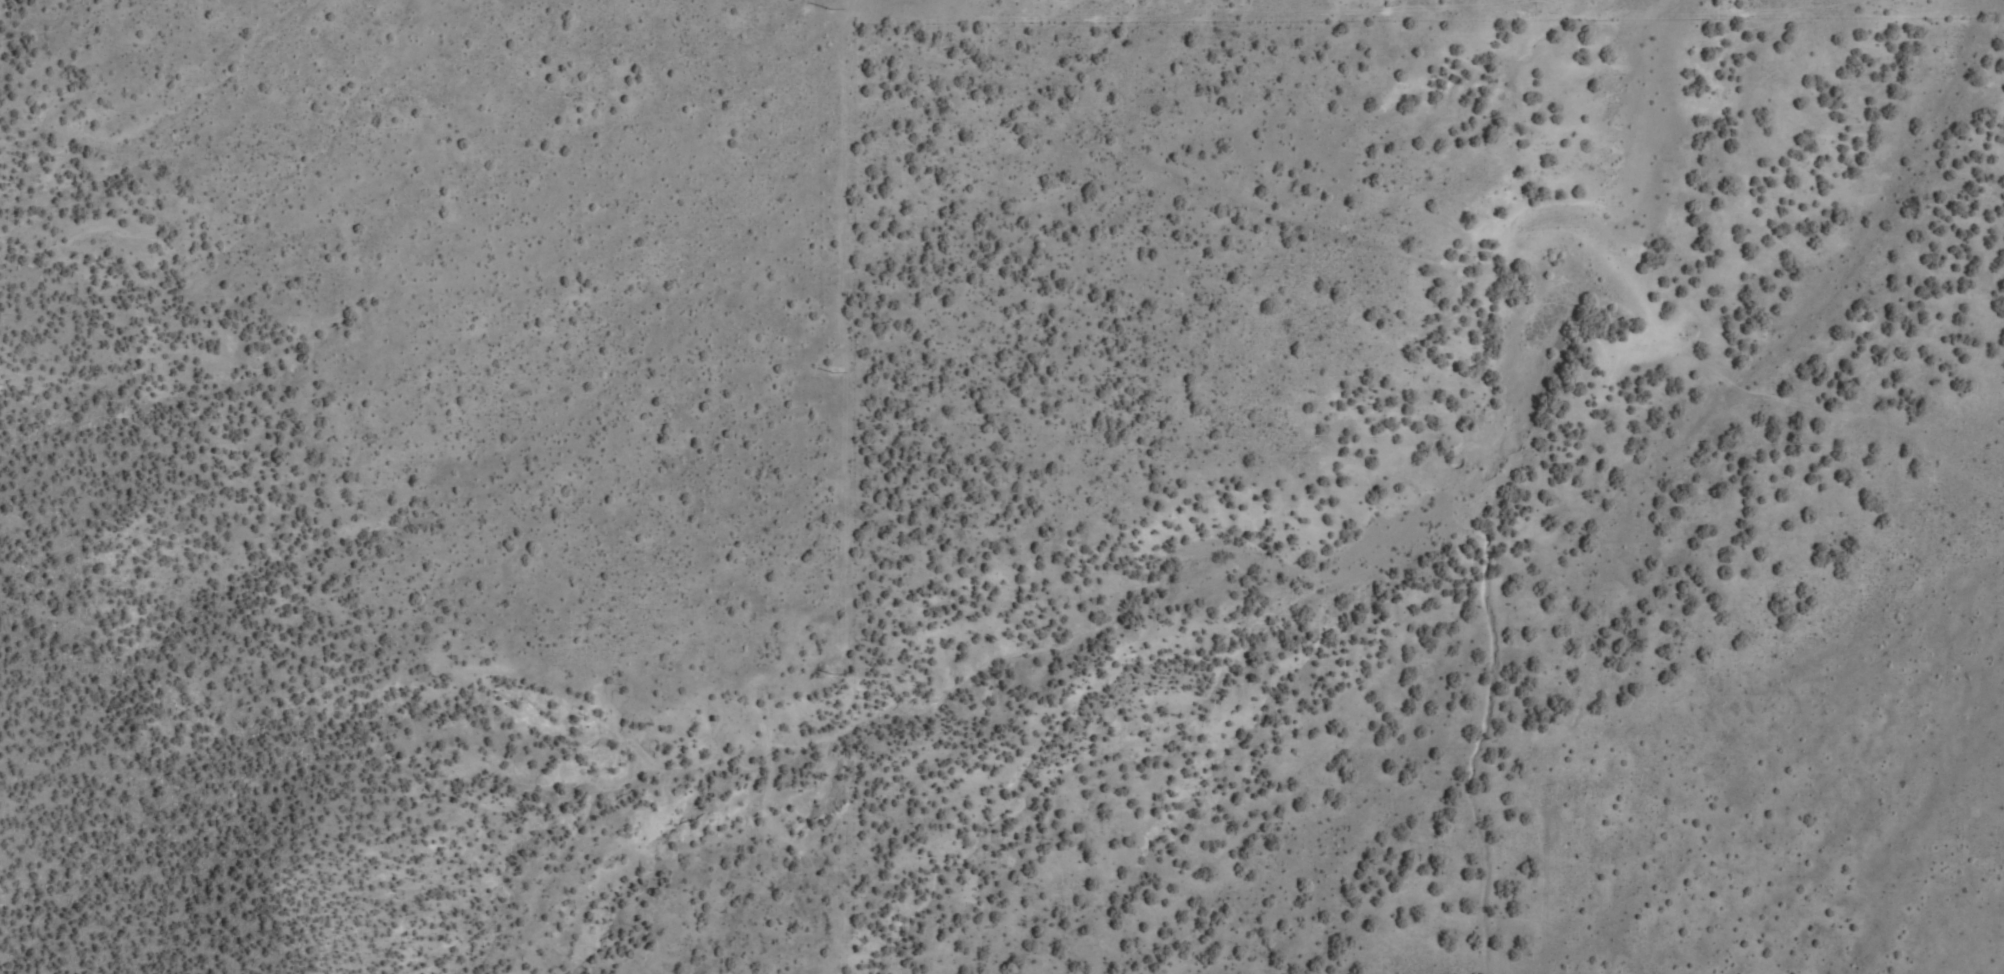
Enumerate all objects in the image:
power tower: (824, 6)
power tower: (823, 370)
power tower: (819, 670)

